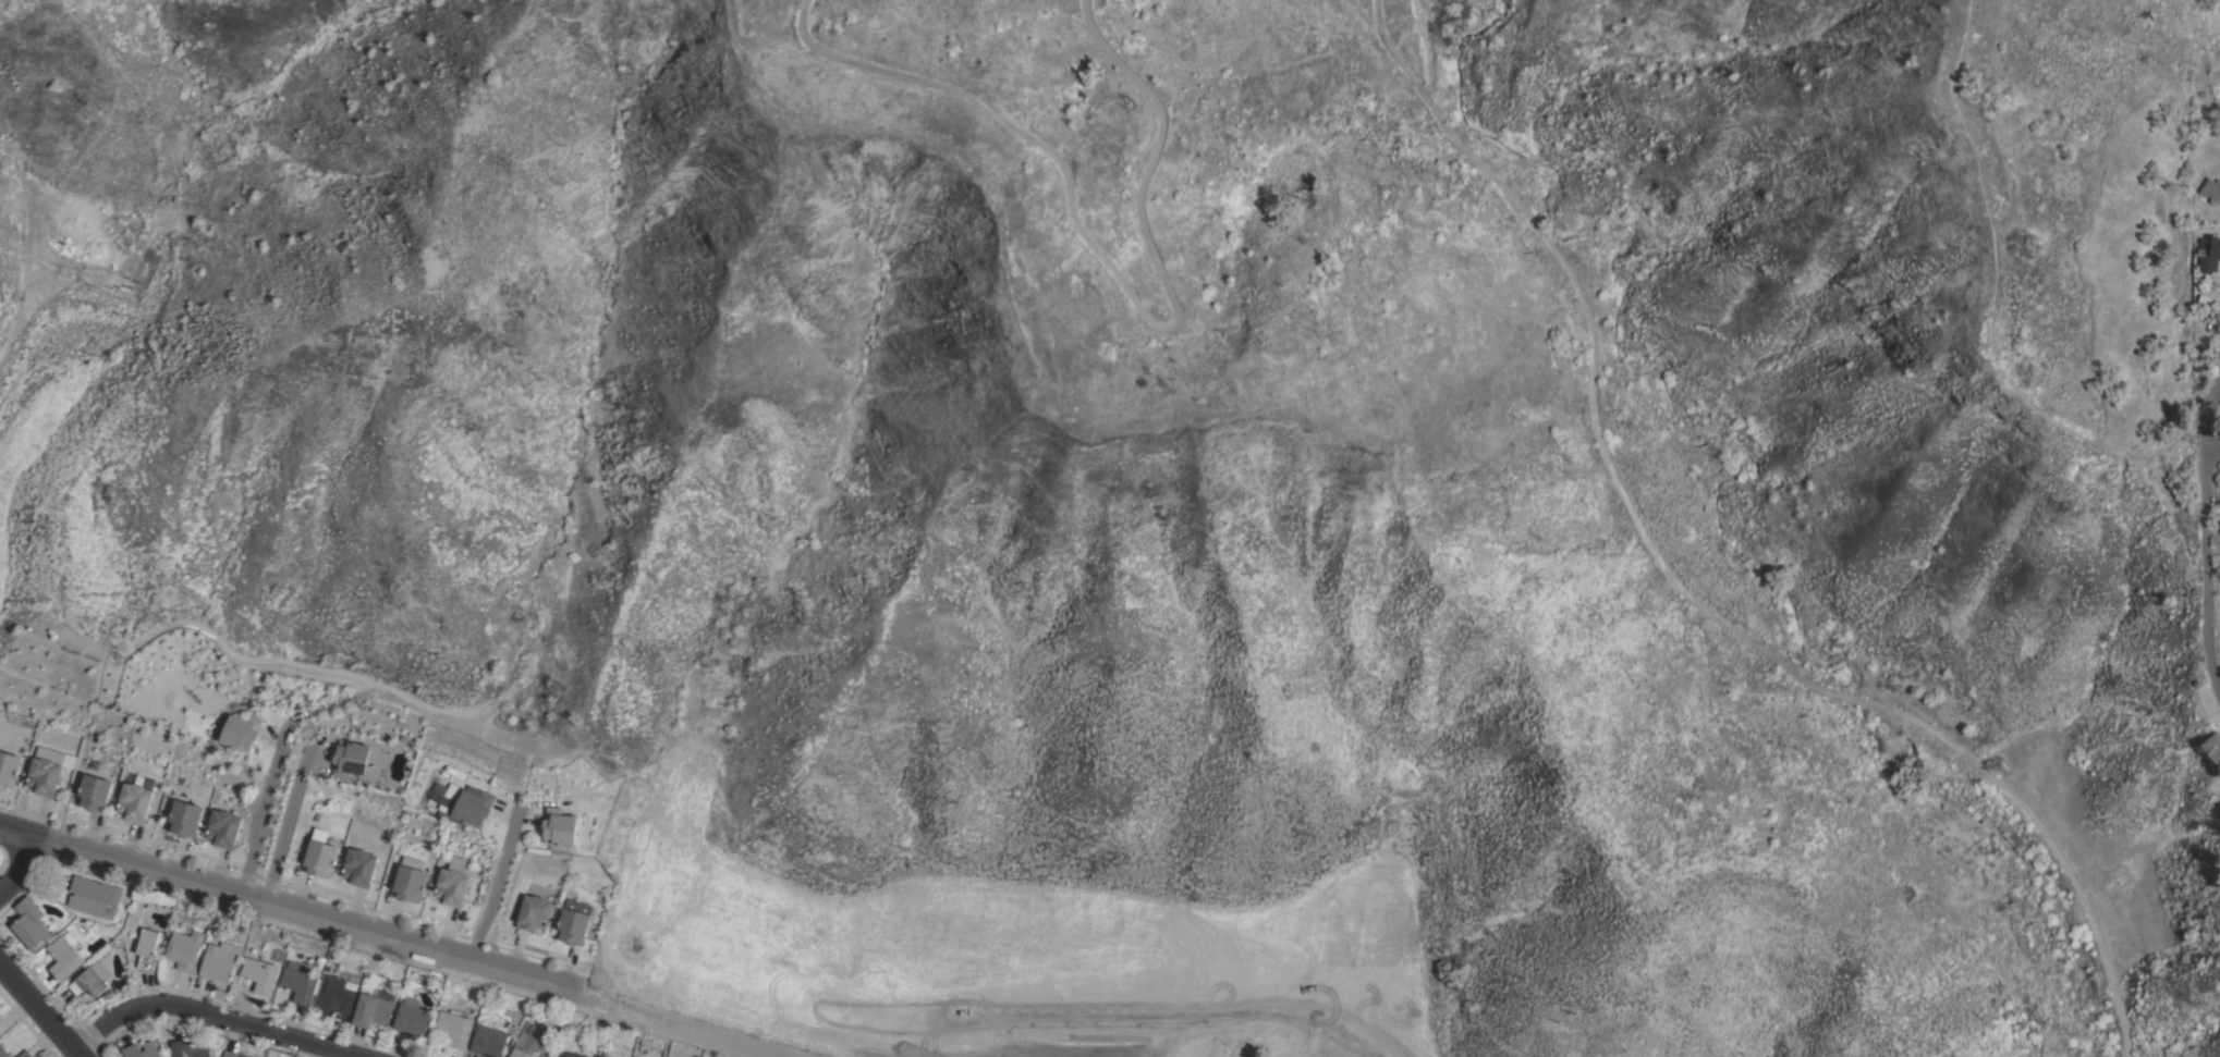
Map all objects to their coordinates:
road: (1390, 42)
road: (1425, 42)
building: (2210, 192)
building: (2205, 256)
road: (1117, 274)
road: (2213, 411)
road: (2213, 438)
road: (2205, 565)
road: (1727, 618)
building: (242, 730)
building: (350, 758)
building: (2208, 758)
building: (9, 767)
building: (42, 775)
building: (94, 792)
building: (135, 801)
building: (474, 807)
building: (184, 818)
road: (264, 821)
building: (559, 825)
road: (283, 826)
building: (223, 827)
building: (319, 858)
building: (358, 867)
road: (24, 870)
building: (408, 881)
building: (451, 886)
road: (495, 887)
building: (93, 896)
building: (534, 912)
road: (296, 918)
building: (573, 921)
building: (31, 923)
building: (185, 947)
building: (147, 949)
building: (65, 956)
building: (220, 962)
building: (261, 975)
building: (92, 979)
building: (300, 984)
building: (123, 985)
building: (336, 994)
road: (44, 1007)
building: (373, 1010)
road: (214, 1015)
building: (412, 1017)
building: (455, 1029)
road: (692, 1029)
building: (530, 1040)
building: (488, 1041)
building: (151, 1047)
road: (1328, 1048)
building: (192, 1050)
building: (3, 1052)
building: (25, 1054)
building: (232, 1055)
building: (573, 1055)
building: (601, 1056)
building: (632, 1056)

